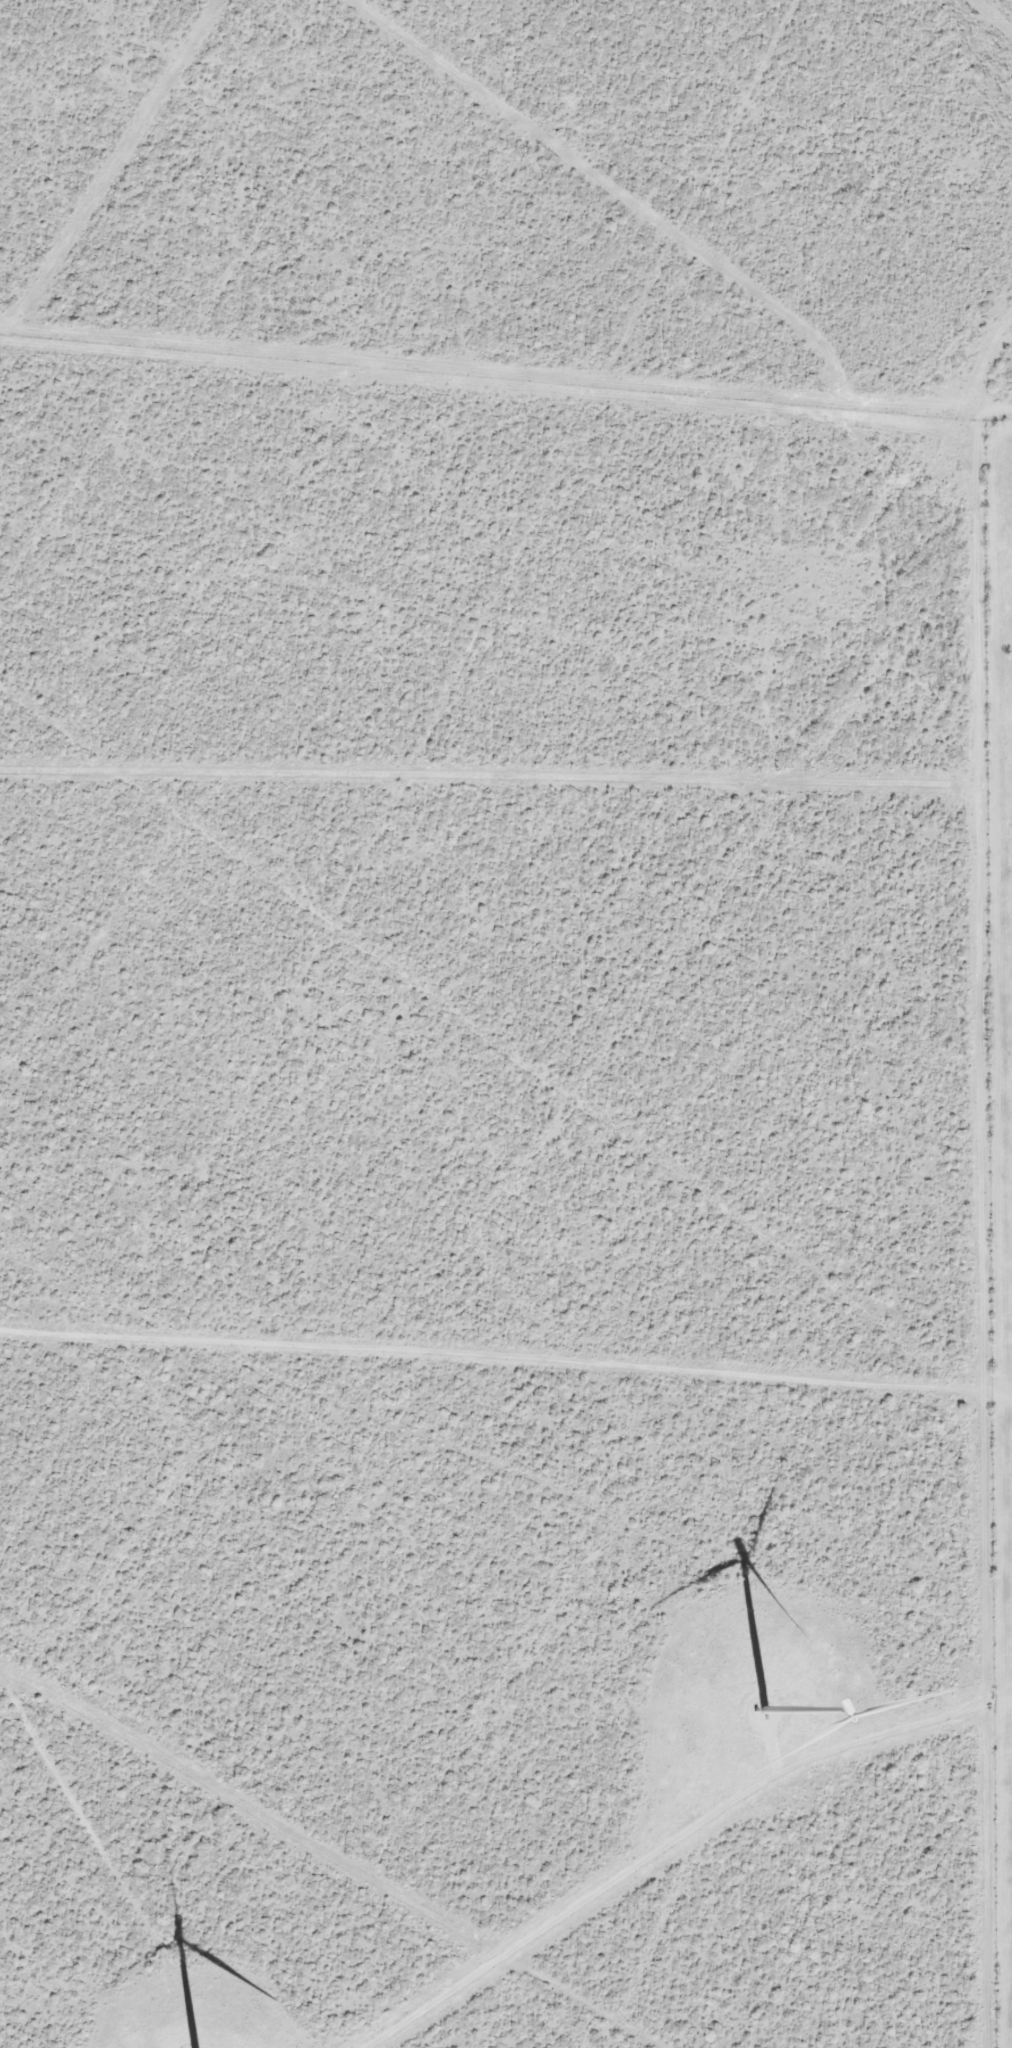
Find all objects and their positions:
wind turbine: (765, 1711)

